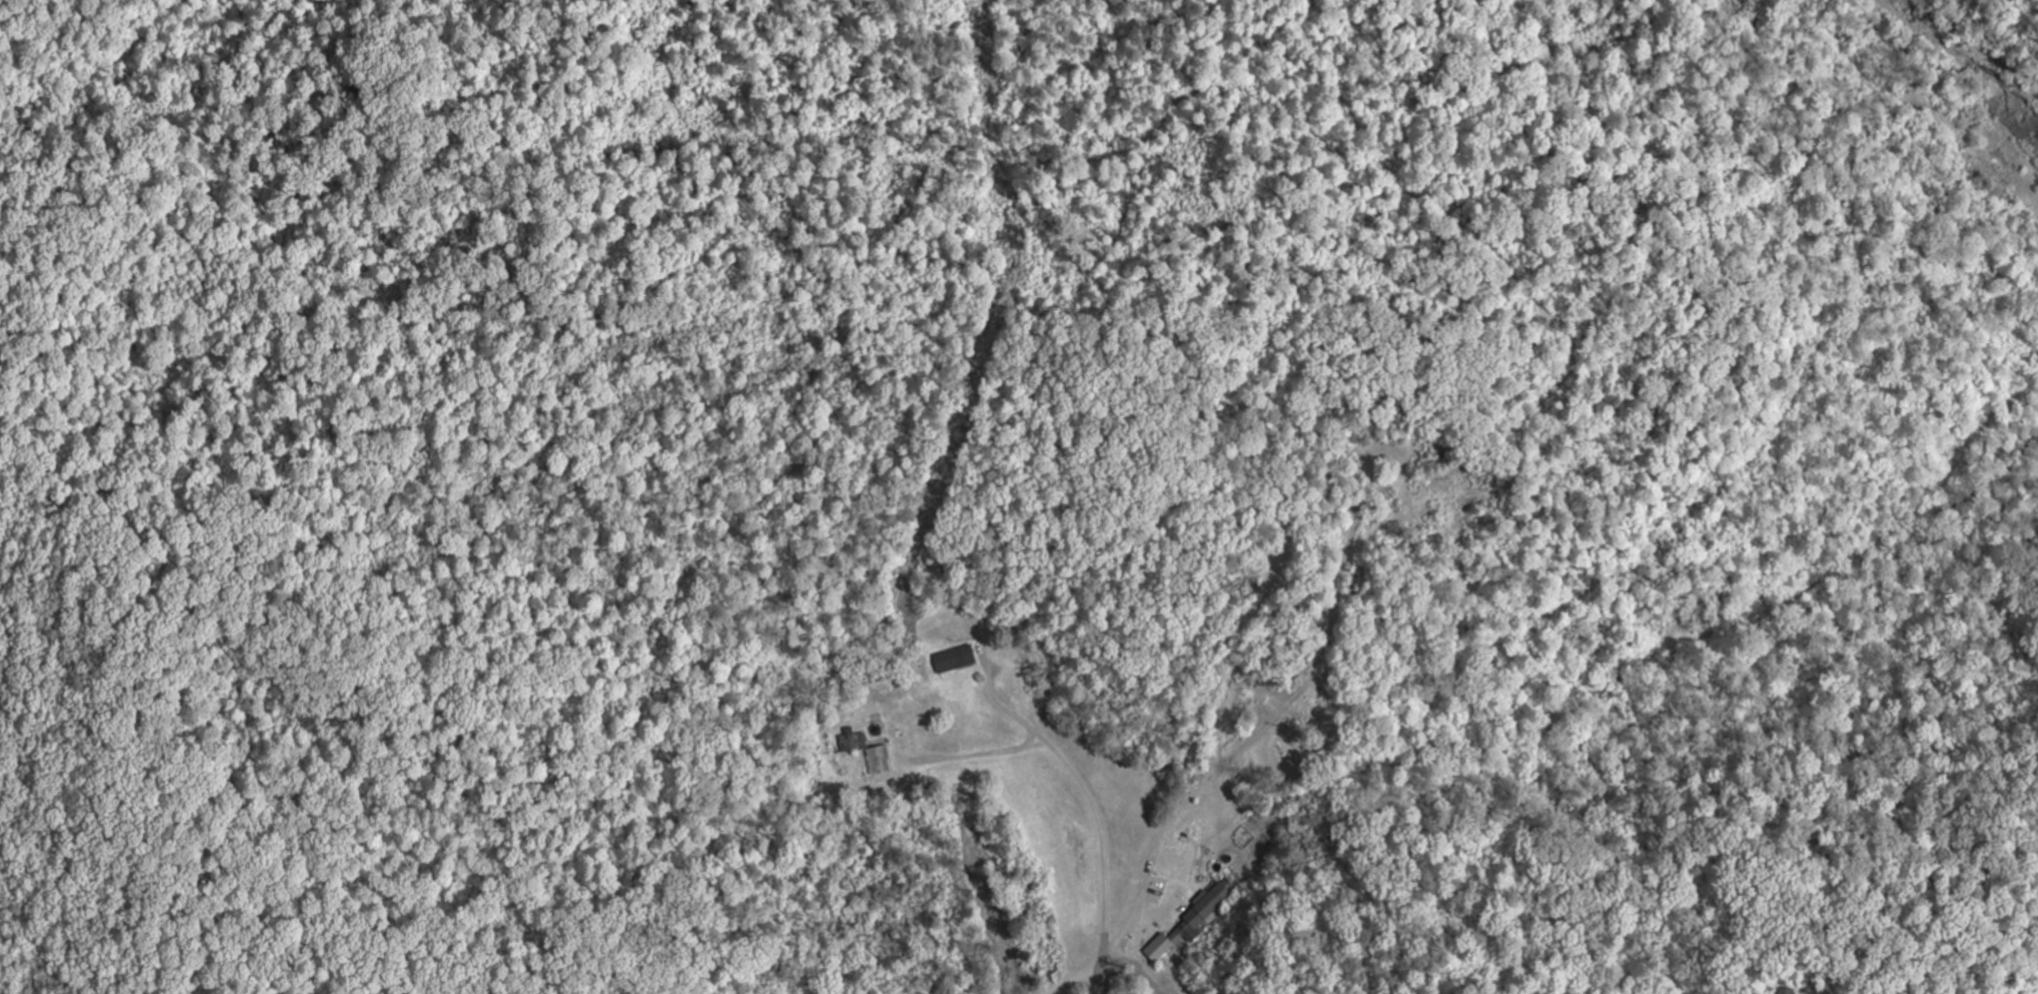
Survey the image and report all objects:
building: (955, 662)
road: (973, 751)
building: (877, 759)
road: (1080, 780)
building: (1191, 922)
road: (1114, 946)
road: (1101, 962)

